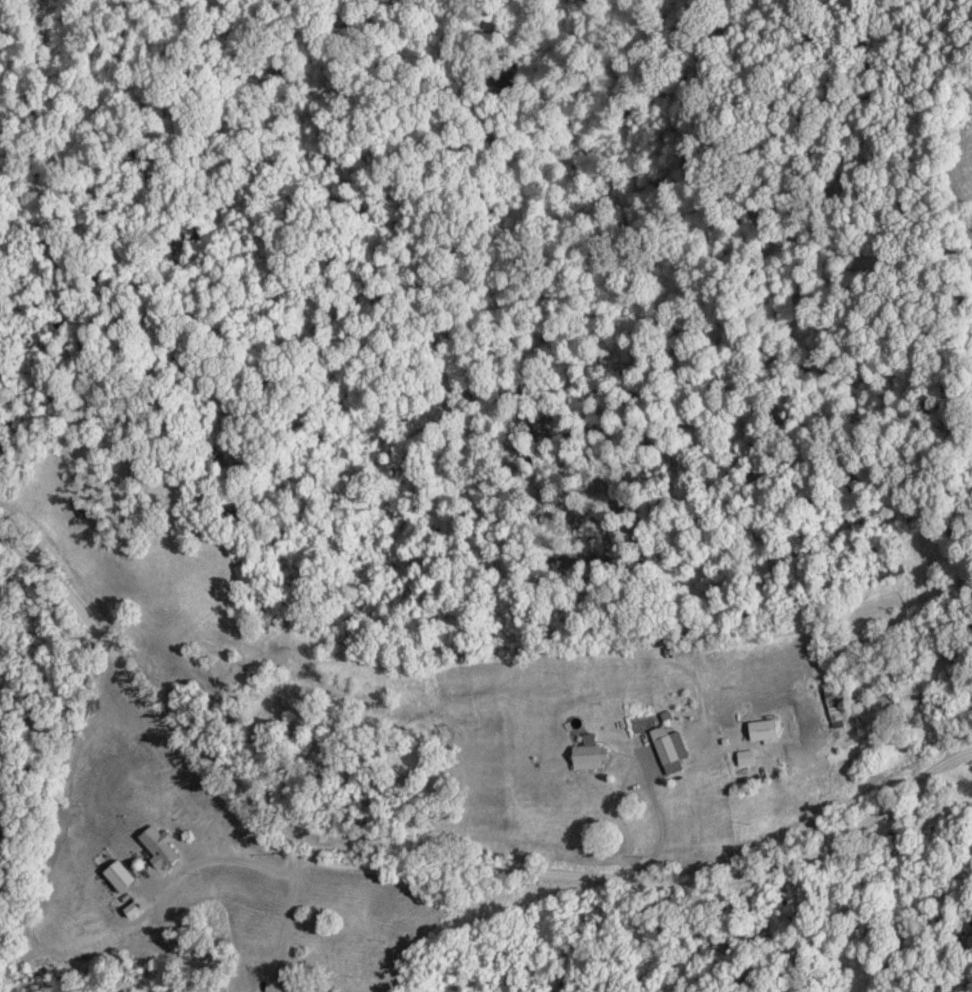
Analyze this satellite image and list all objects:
road: (239, 860)
road: (431, 861)
road: (288, 917)

